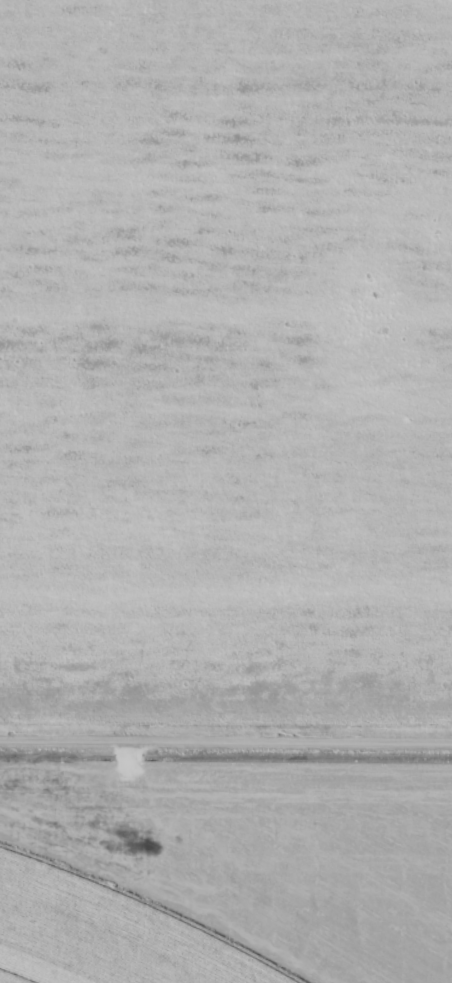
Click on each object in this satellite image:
road: (226, 740)

